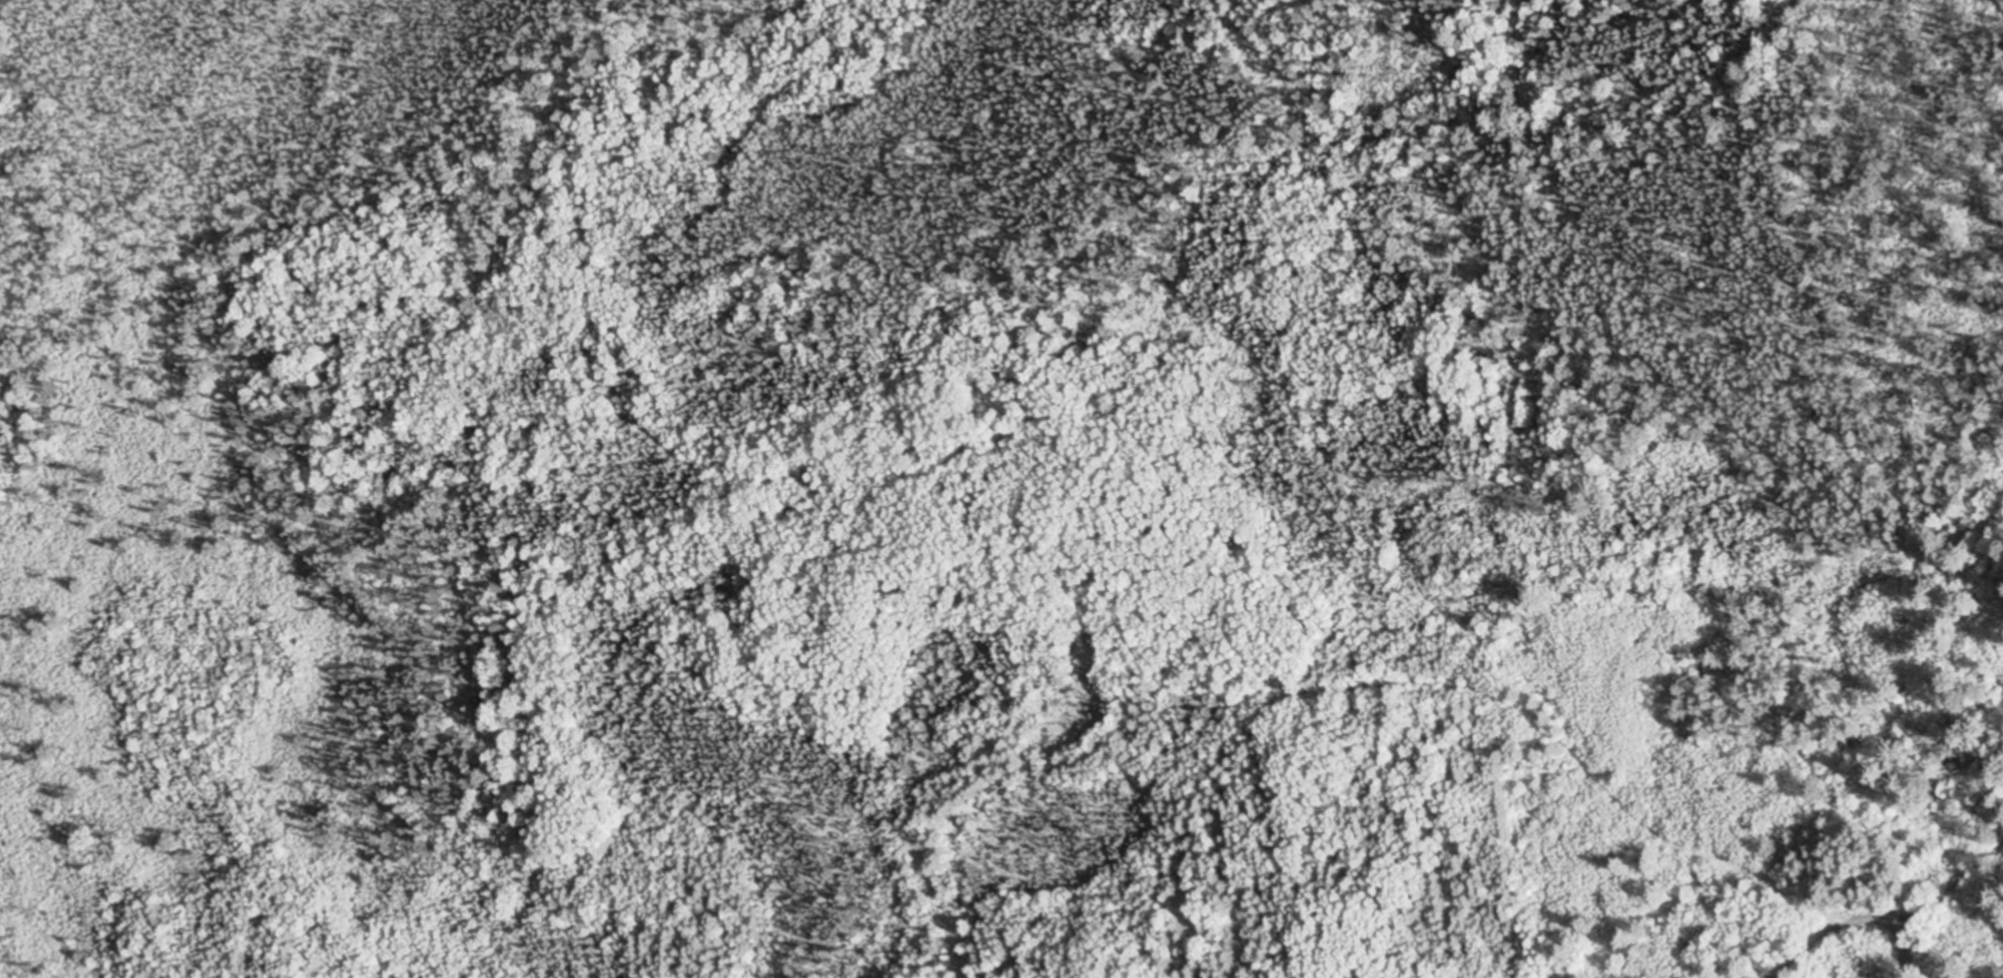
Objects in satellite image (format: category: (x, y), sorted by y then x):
road: (1865, 936)

